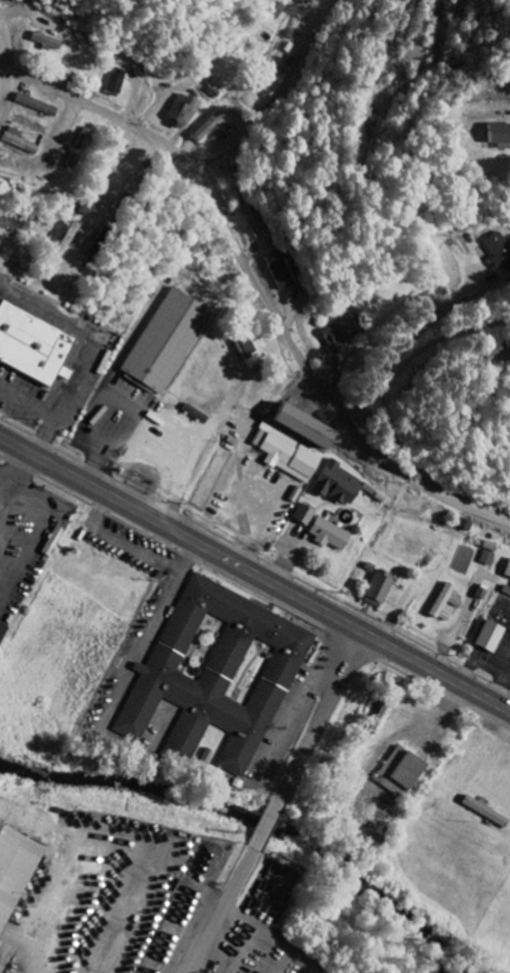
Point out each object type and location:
building: (45, 42)
building: (116, 81)
building: (35, 106)
building: (180, 110)
building: (209, 125)
building: (498, 135)
building: (17, 142)
building: (78, 149)
building: (250, 216)
building: (65, 241)
building: (500, 252)
building: (281, 271)
road: (259, 288)
building: (340, 334)
building: (164, 343)
building: (34, 344)
building: (251, 347)
building: (195, 415)
road: (460, 417)
building: (292, 444)
building: (337, 484)
building: (303, 516)
building: (329, 535)
building: (52, 541)
building: (488, 554)
building: (507, 570)
road: (254, 572)
building: (378, 588)
building: (445, 603)
building: (3, 630)
building: (488, 636)
building: (217, 673)
building: (381, 718)
building: (399, 773)
road: (279, 803)
building: (484, 811)
river: (248, 827)
building: (13, 867)

